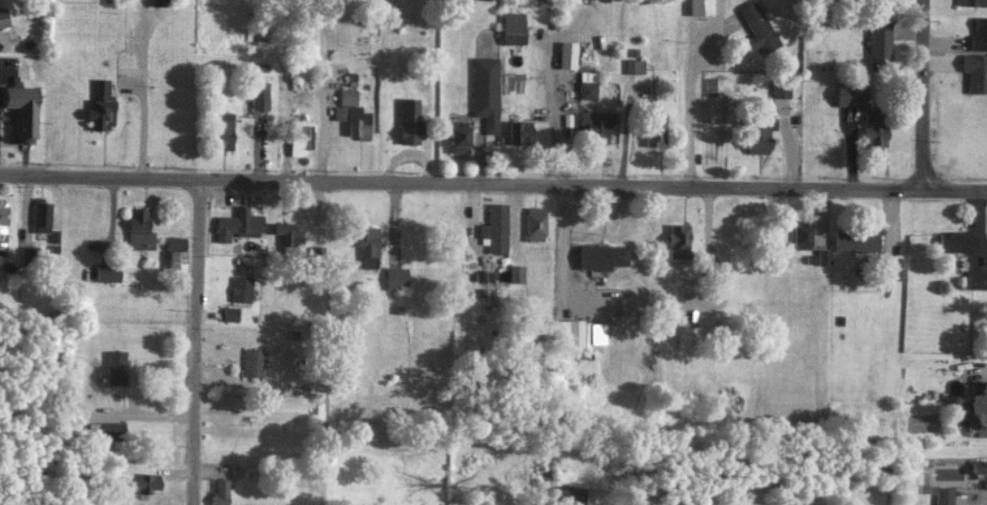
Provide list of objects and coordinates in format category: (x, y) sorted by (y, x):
building: (972, 2)
building: (700, 7)
building: (3, 18)
building: (513, 27)
building: (760, 27)
building: (979, 32)
building: (879, 38)
building: (634, 65)
building: (975, 72)
building: (584, 89)
building: (484, 90)
building: (779, 90)
building: (851, 93)
building: (259, 95)
road: (921, 95)
building: (347, 96)
building: (101, 105)
road: (692, 106)
building: (21, 111)
building: (352, 111)
building: (339, 112)
building: (409, 120)
building: (596, 124)
building: (875, 127)
building: (222, 129)
building: (358, 129)
building: (520, 131)
building: (655, 133)
building: (760, 135)
building: (298, 136)
building: (458, 136)
road: (493, 184)
building: (2, 215)
building: (40, 216)
building: (535, 222)
building: (237, 224)
building: (495, 227)
building: (139, 229)
building: (286, 231)
building: (802, 234)
building: (678, 240)
building: (956, 240)
building: (855, 241)
building: (175, 242)
building: (367, 245)
building: (602, 255)
building: (823, 256)
building: (176, 260)
building: (107, 272)
building: (515, 273)
building: (396, 277)
building: (976, 279)
building: (241, 288)
building: (229, 313)
building: (570, 333)
building: (589, 335)
building: (688, 335)
road: (195, 342)
building: (252, 362)
building: (115, 367)
building: (978, 427)
building: (104, 430)
building: (979, 469)
building: (144, 483)
building: (219, 492)
building: (569, 494)
building: (943, 495)

